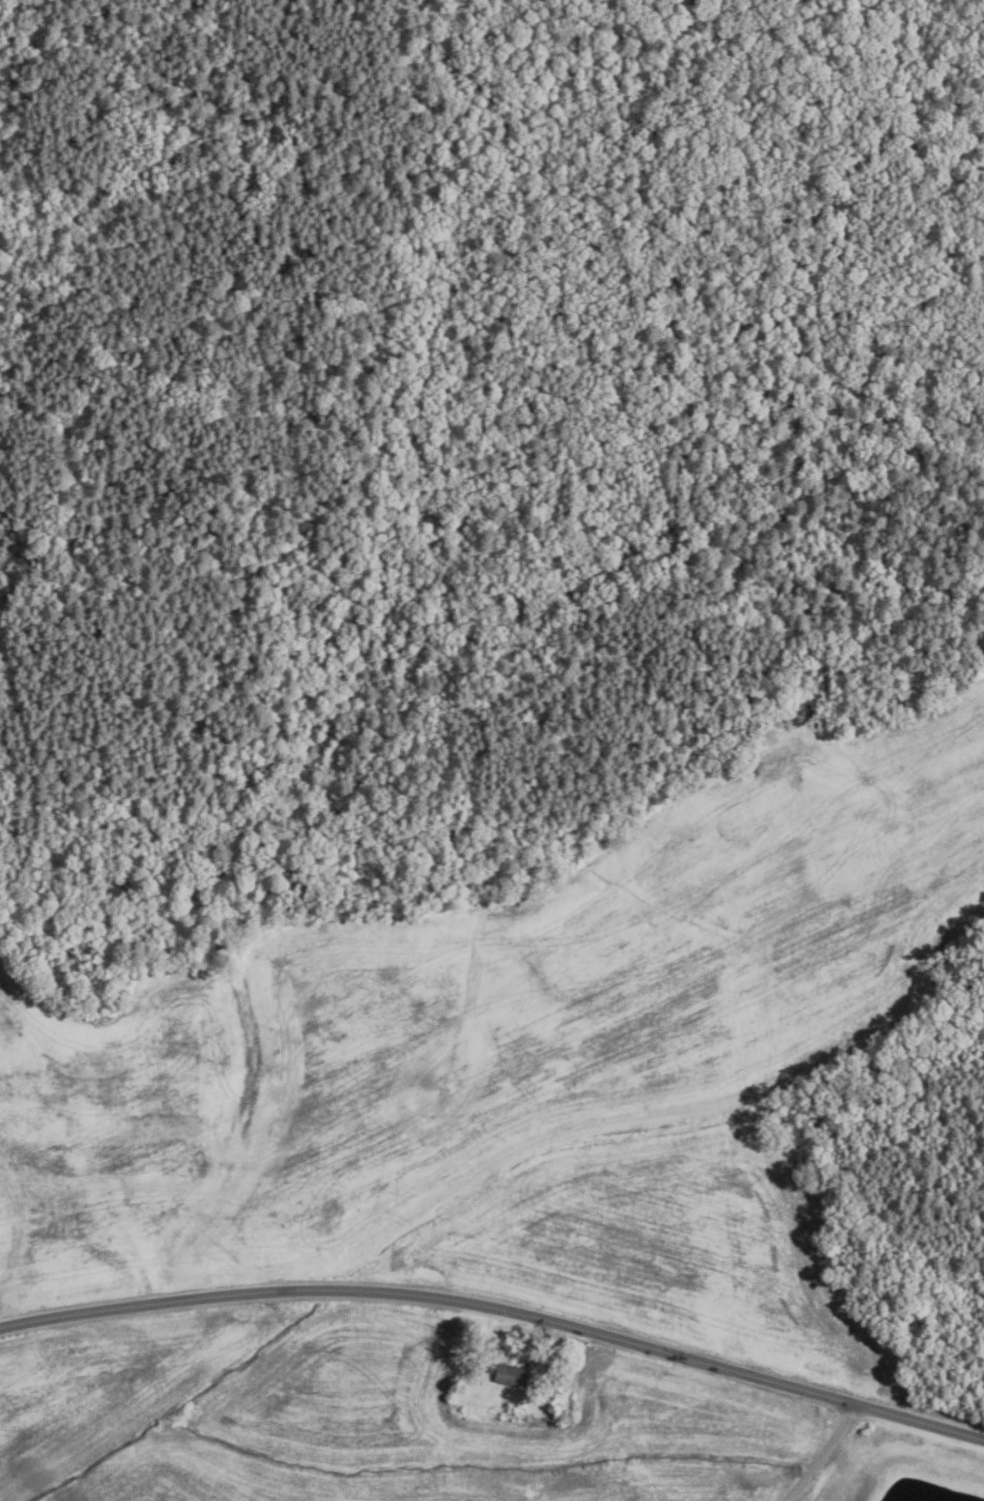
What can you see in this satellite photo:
road: (498, 1309)
building: (508, 1374)
road: (821, 1454)

